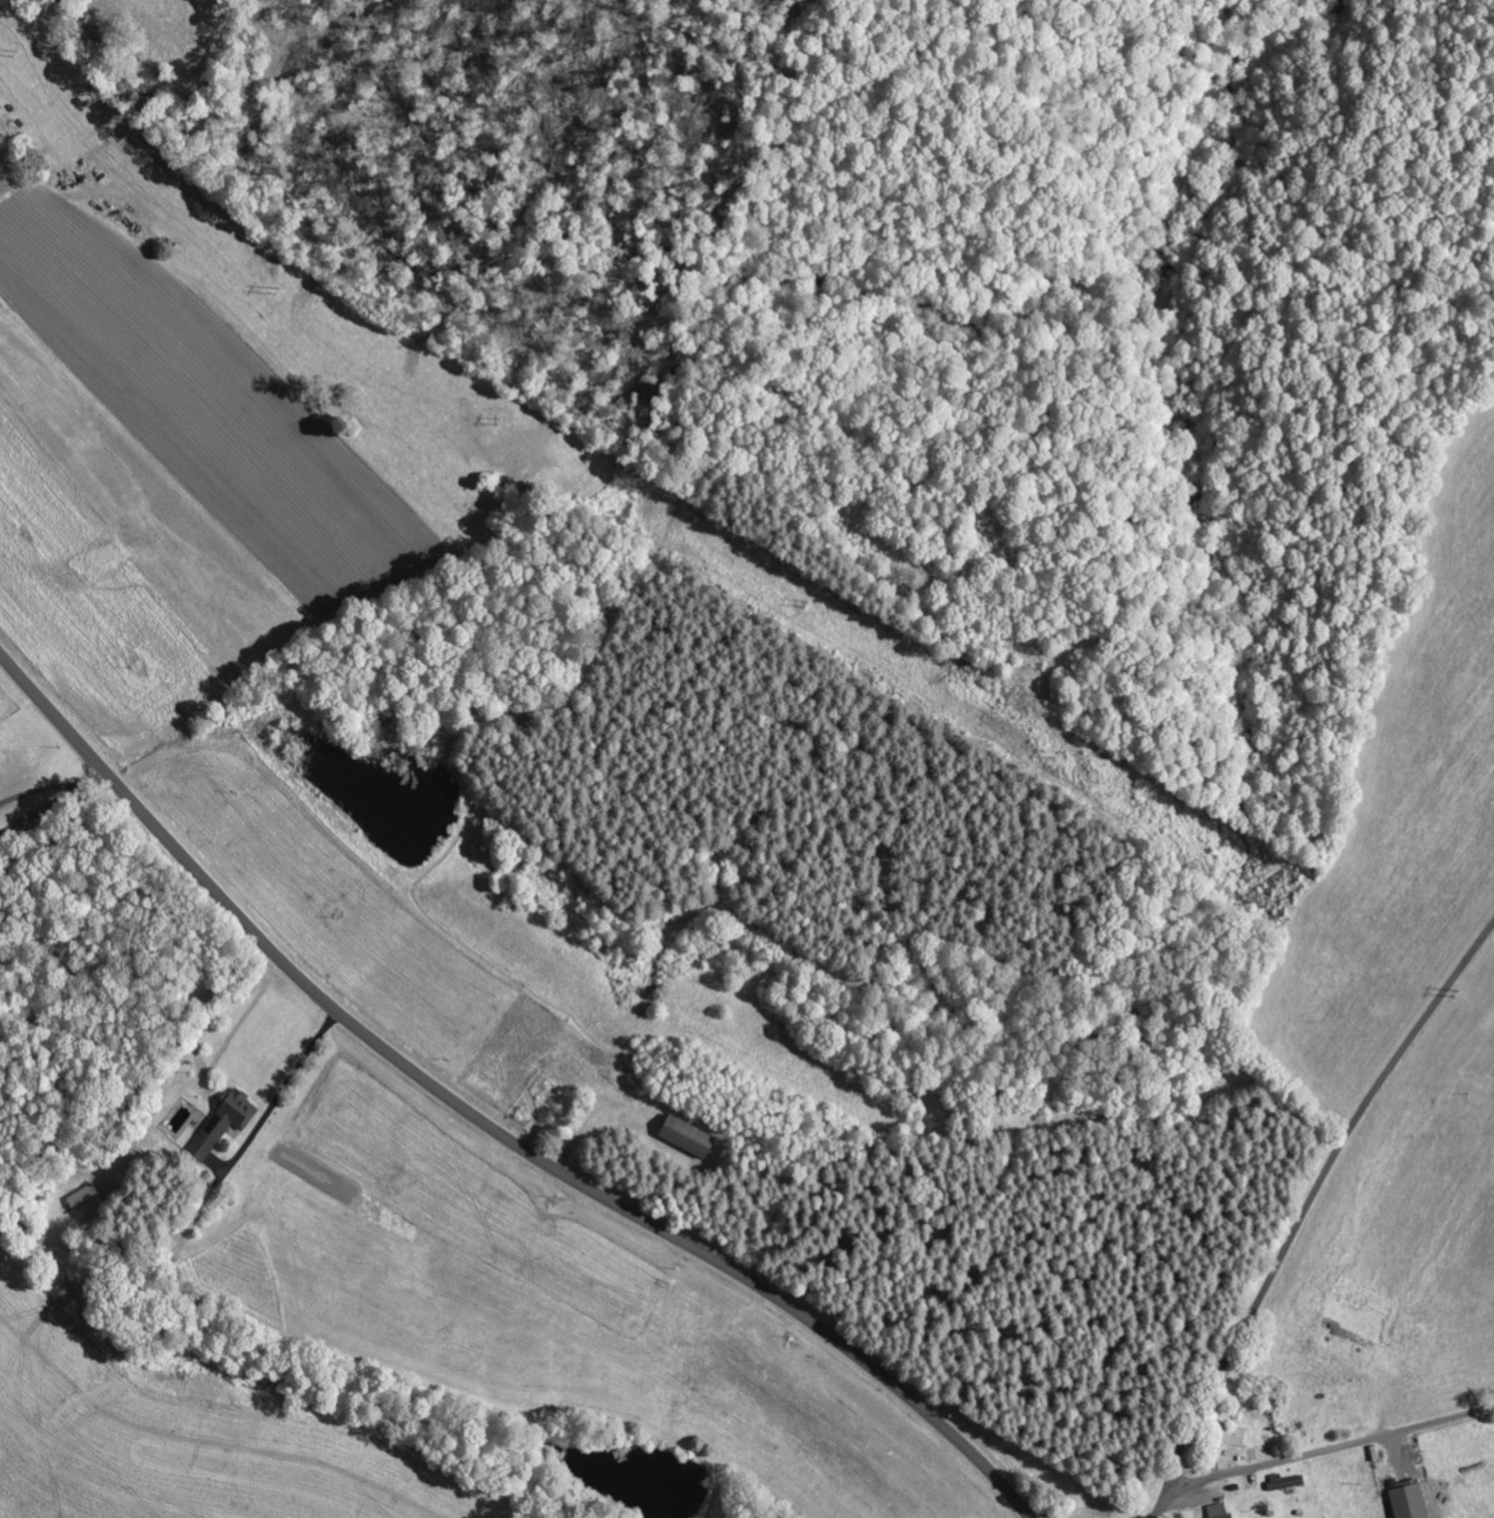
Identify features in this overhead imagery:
building: (234, 1113)
road: (485, 1123)
building: (690, 1137)
building: (89, 1200)
road: (1304, 1207)
building: (1241, 1436)
road: (1326, 1449)
building: (1287, 1480)
building: (1412, 1500)
building: (1221, 1510)

